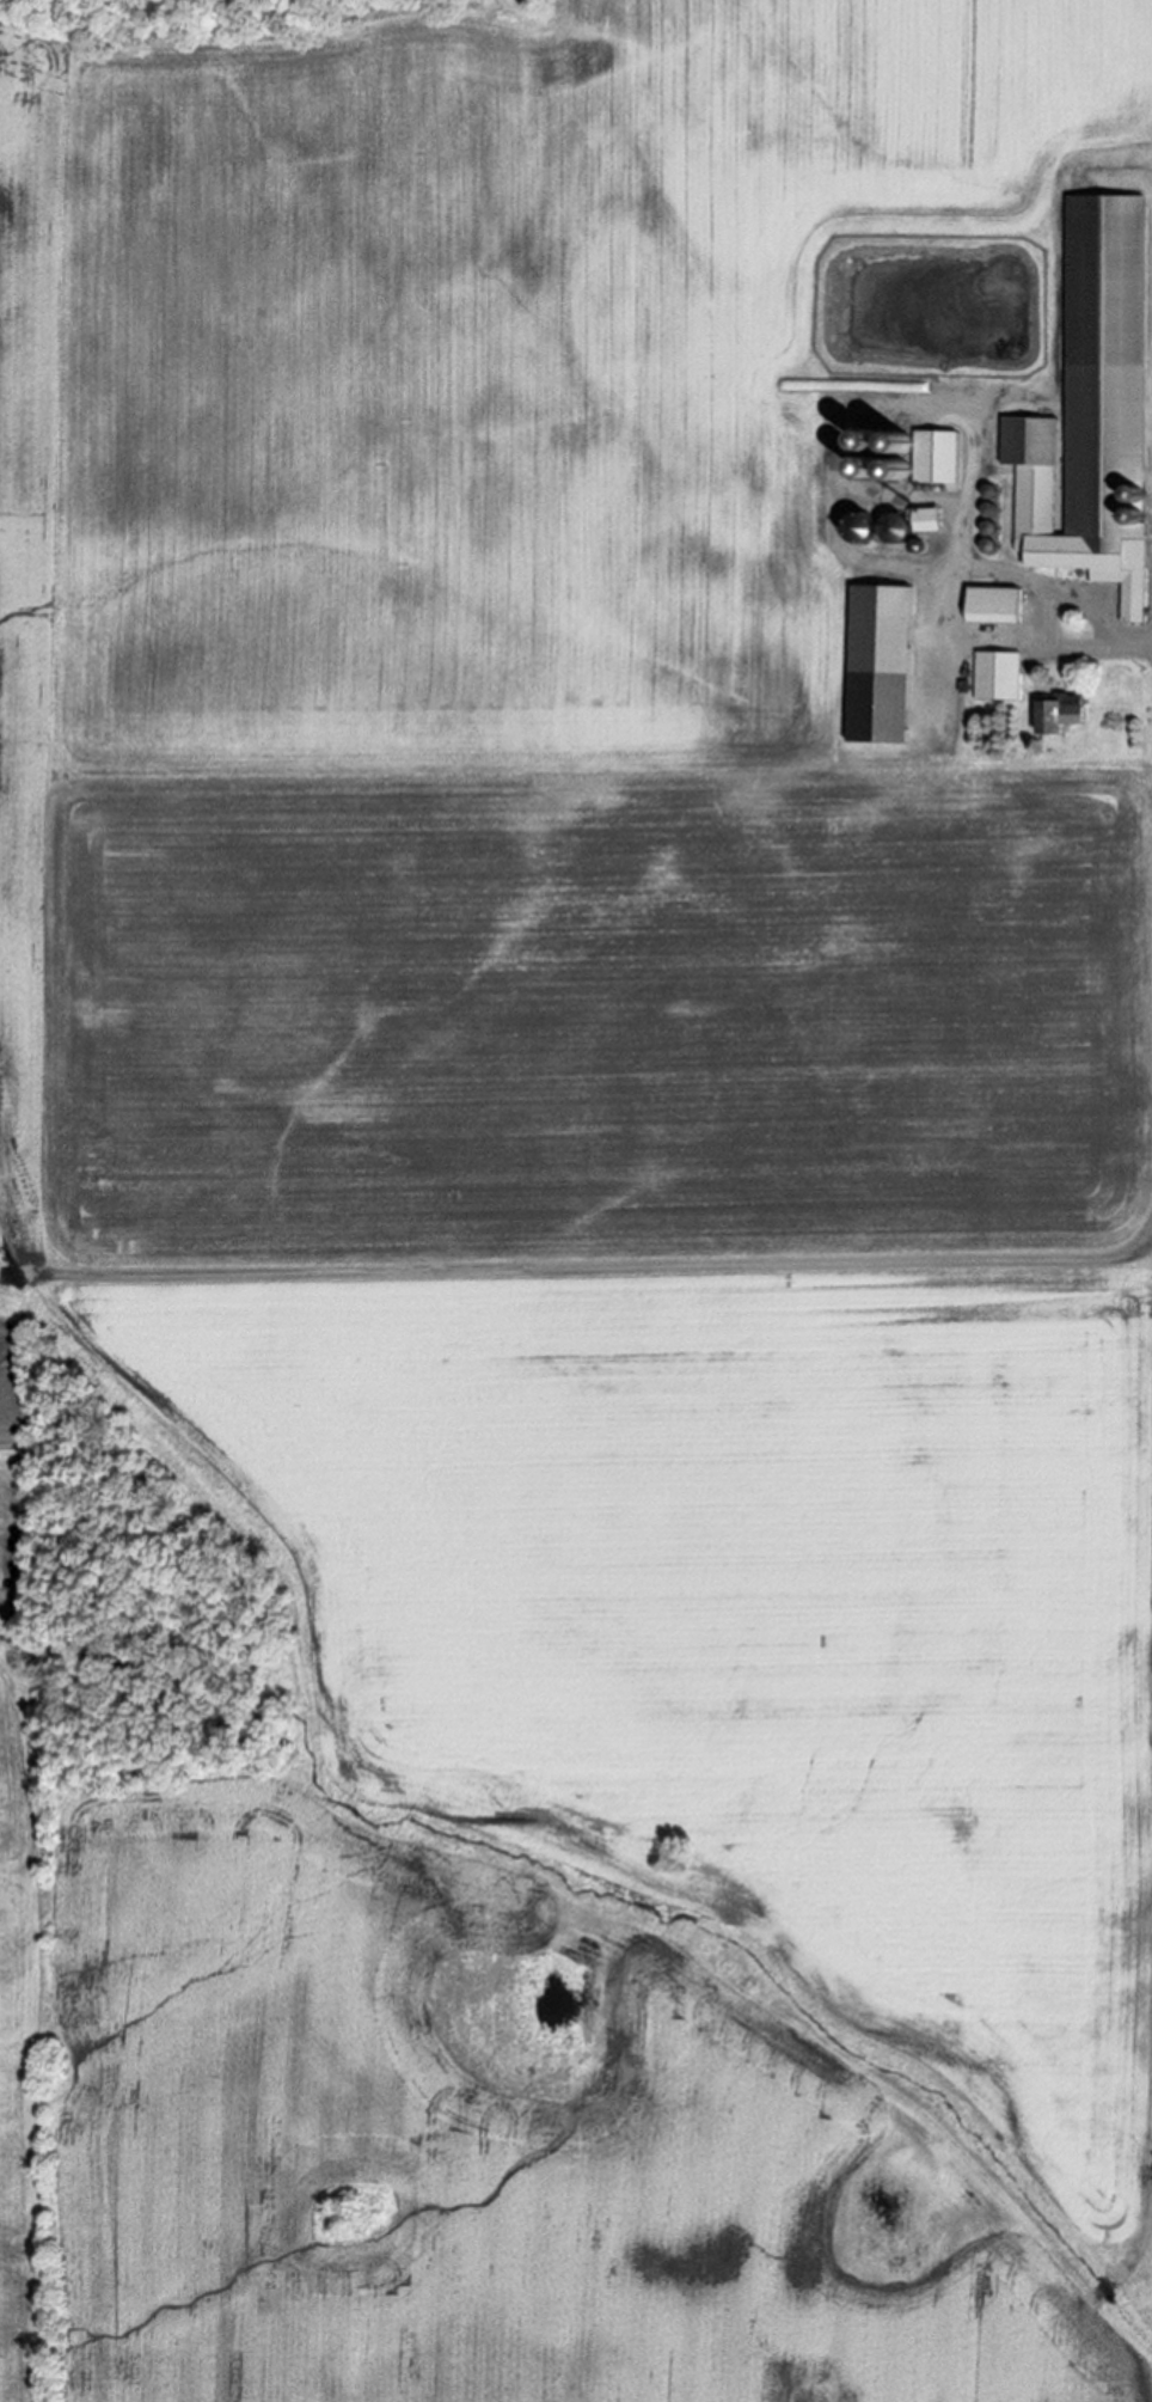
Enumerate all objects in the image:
building: (1091, 409)
building: (933, 457)
building: (888, 525)
road: (1050, 603)
building: (992, 605)
road: (1133, 644)
building: (876, 664)
building: (995, 676)
building: (1056, 714)

